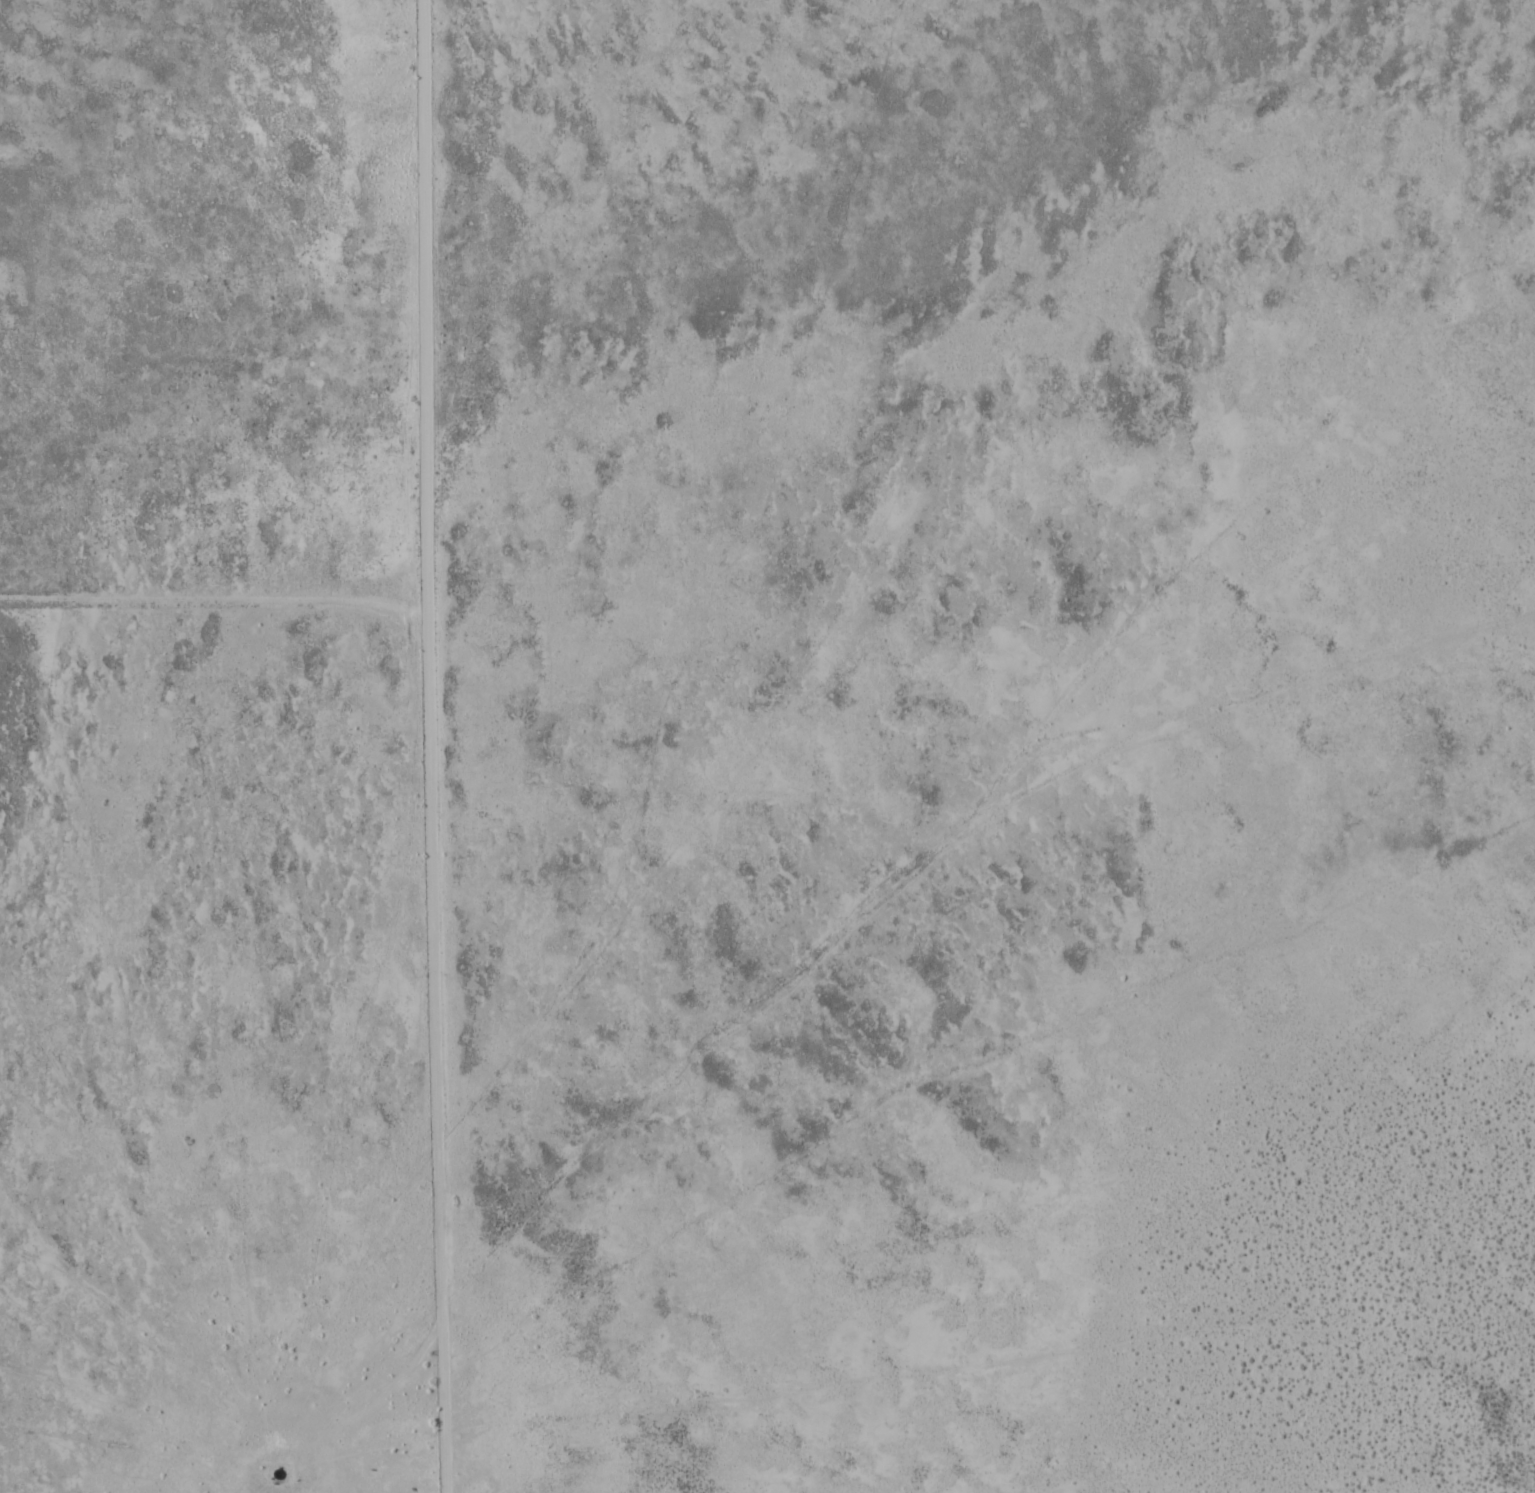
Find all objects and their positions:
road: (421, 746)

